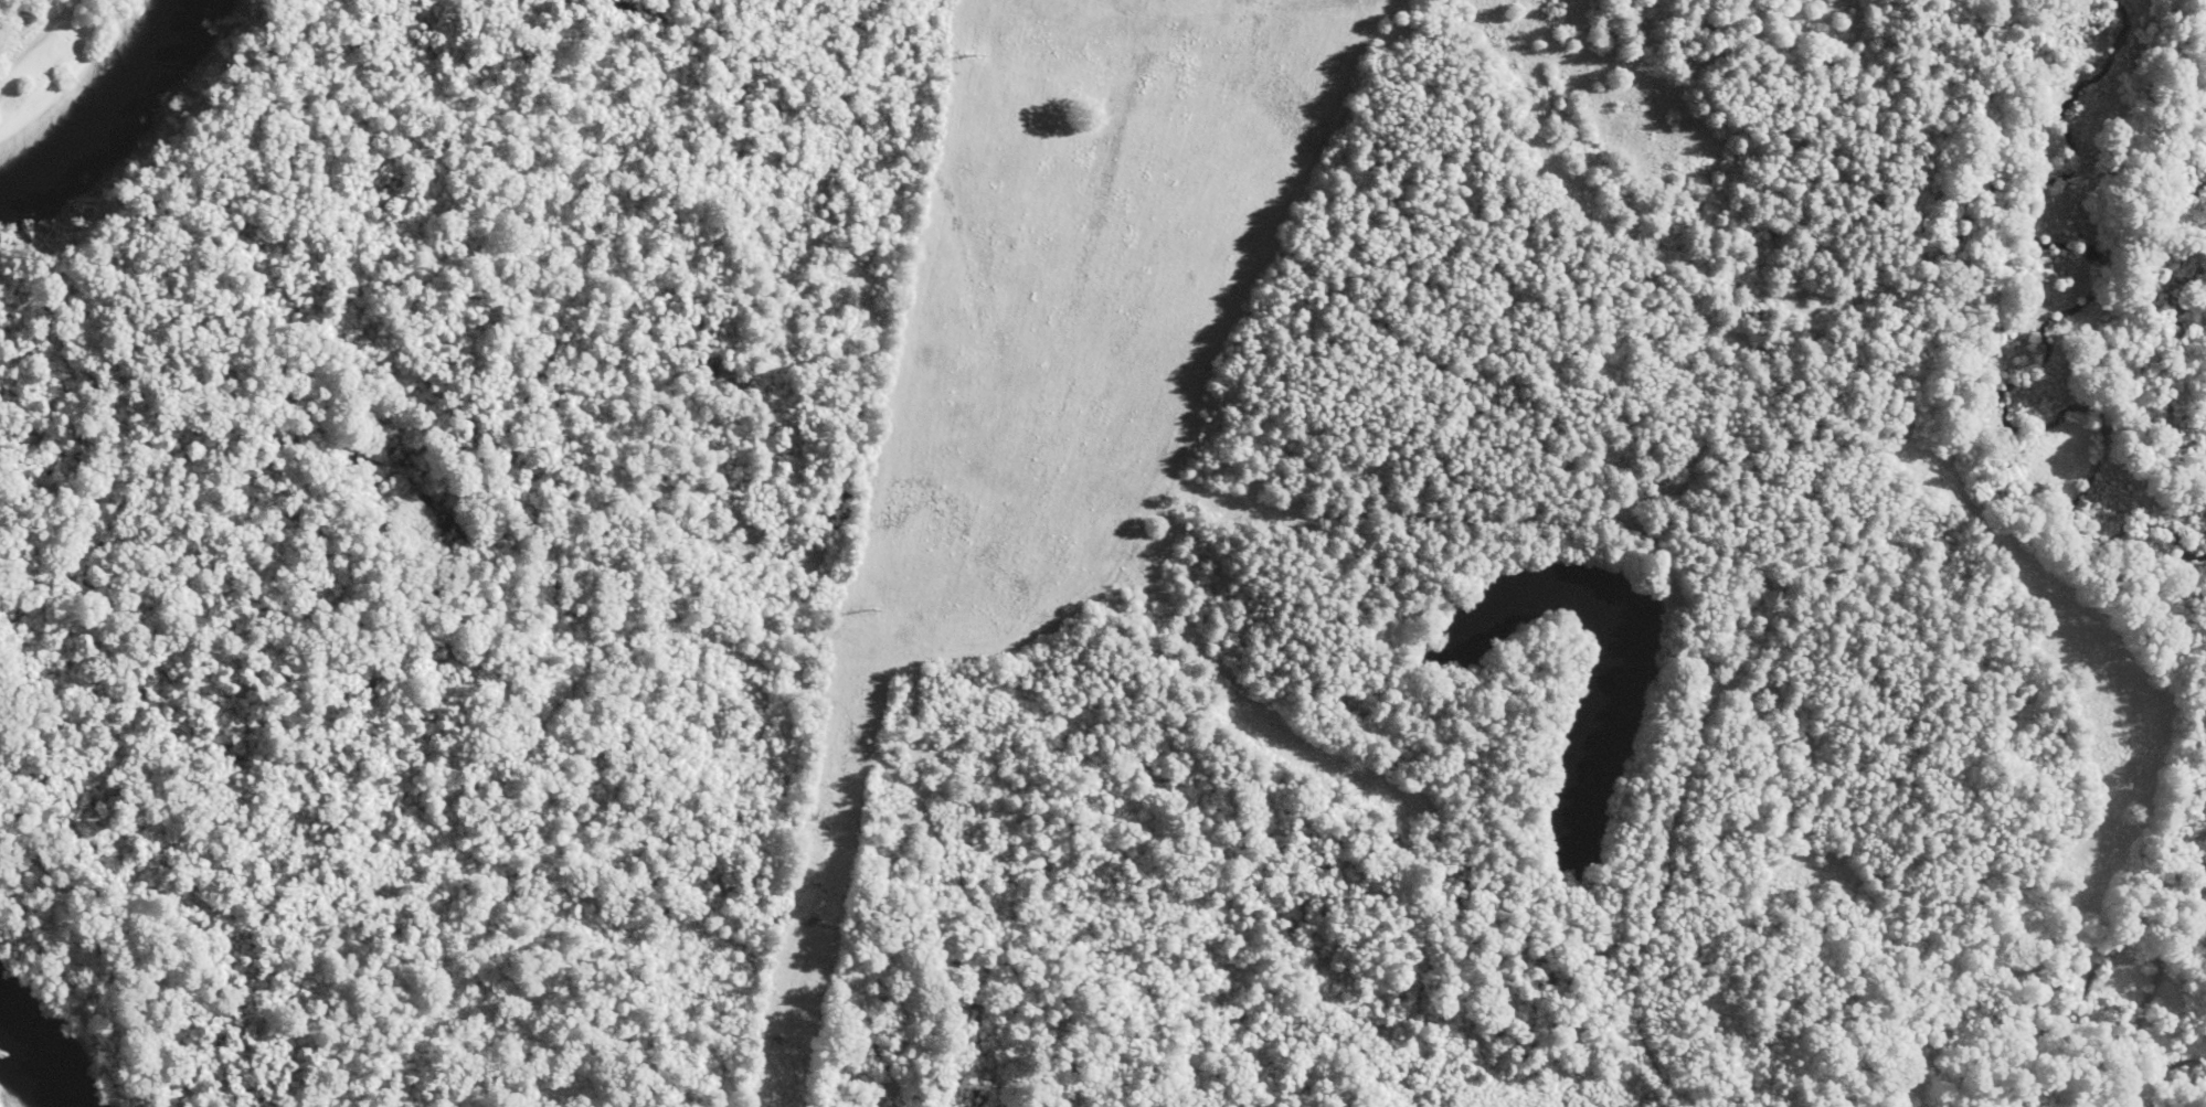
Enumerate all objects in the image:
river: (100, 87)
river: (34, 1056)

